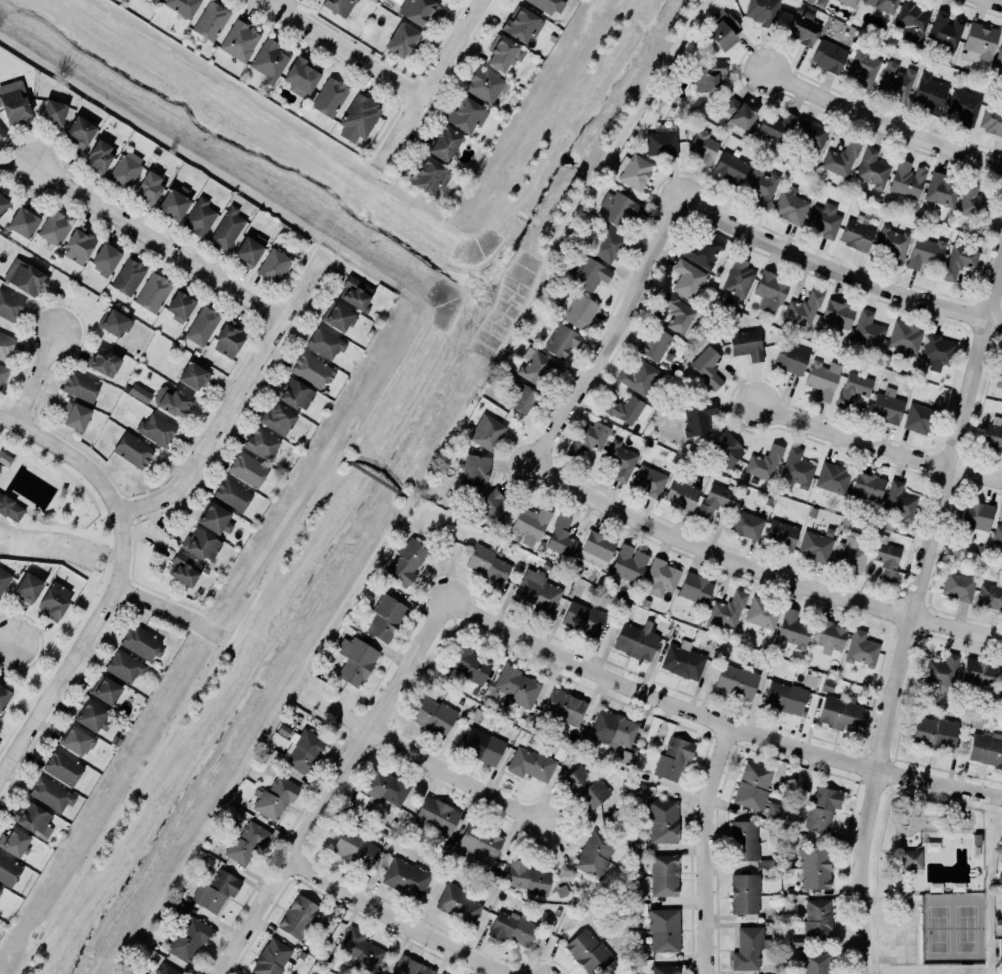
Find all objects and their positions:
building: (153, 0)
building: (849, 2)
road: (995, 2)
road: (281, 4)
building: (550, 5)
building: (883, 5)
building: (182, 6)
building: (338, 6)
building: (416, 10)
building: (762, 10)
building: (210, 20)
building: (913, 20)
building: (521, 24)
building: (802, 28)
building: (945, 29)
building: (721, 30)
building: (401, 39)
building: (979, 39)
building: (238, 40)
road: (343, 49)
building: (504, 53)
building: (266, 56)
building: (829, 56)
building: (999, 57)
building: (863, 68)
building: (708, 74)
building: (300, 76)
building: (895, 81)
road: (430, 83)
building: (484, 85)
building: (928, 93)
building: (329, 96)
building: (13, 102)
building: (963, 105)
building: (51, 112)
building: (737, 113)
building: (359, 114)
building: (466, 114)
building: (991, 120)
road: (882, 121)
building: (774, 126)
building: (79, 131)
building: (1, 132)
building: (811, 133)
building: (661, 141)
building: (445, 143)
building: (702, 145)
building: (98, 156)
building: (841, 158)
building: (731, 167)
building: (871, 167)
building: (126, 169)
building: (634, 170)
building: (428, 176)
building: (907, 178)
building: (763, 185)
building: (150, 187)
building: (940, 190)
building: (2, 203)
building: (974, 203)
building: (173, 204)
building: (790, 206)
building: (617, 208)
building: (198, 216)
building: (823, 218)
building: (22, 222)
building: (53, 227)
building: (227, 228)
building: (856, 234)
building: (892, 243)
building: (78, 244)
road: (159, 244)
building: (608, 245)
road: (550, 246)
building: (699, 247)
building: (925, 250)
building: (247, 251)
building: (105, 258)
building: (959, 261)
building: (274, 265)
road: (839, 272)
building: (588, 273)
building: (127, 275)
building: (23, 276)
building: (739, 277)
building: (686, 278)
building: (769, 290)
building: (153, 292)
building: (356, 293)
road: (986, 304)
building: (9, 305)
building: (180, 305)
building: (802, 308)
building: (576, 309)
building: (677, 312)
building: (838, 314)
road: (975, 314)
building: (337, 316)
road: (999, 321)
building: (113, 322)
building: (202, 325)
road: (983, 329)
building: (868, 330)
road: (609, 333)
building: (558, 337)
building: (905, 338)
building: (229, 339)
building: (324, 342)
building: (653, 343)
building: (747, 343)
building: (6, 346)
building: (936, 350)
building: (791, 356)
building: (103, 363)
building: (707, 366)
building: (537, 367)
building: (309, 368)
building: (3, 375)
building: (191, 375)
building: (999, 375)
building: (638, 376)
road: (36, 378)
building: (822, 378)
building: (79, 385)
building: (854, 388)
street lamp: (958, 392)
building: (140, 393)
building: (295, 394)
road: (235, 397)
building: (522, 399)
building: (170, 401)
building: (887, 406)
building: (624, 409)
road: (978, 411)
building: (75, 415)
building: (698, 418)
building: (920, 418)
building: (278, 419)
building: (156, 429)
building: (485, 431)
building: (992, 436)
building: (588, 437)
building: (262, 443)
building: (131, 447)
road: (878, 448)
building: (726, 449)
road: (952, 455)
road: (342, 457)
building: (620, 460)
building: (764, 462)
road: (937, 463)
road: (960, 468)
building: (247, 469)
building: (476, 470)
building: (795, 470)
road: (98, 477)
road: (375, 477)
building: (833, 477)
road: (945, 477)
building: (649, 480)
building: (867, 486)
building: (232, 493)
building: (681, 495)
road: (407, 497)
building: (714, 500)
building: (898, 500)
building: (492, 506)
building: (10, 507)
building: (975, 515)
road: (5, 519)
building: (214, 519)
building: (747, 524)
road: (4, 525)
building: (530, 525)
road: (58, 532)
building: (781, 534)
building: (997, 534)
building: (560, 536)
road: (61, 541)
building: (200, 544)
street lamp: (940, 545)
parking lot: (49, 546)
building: (815, 546)
building: (595, 548)
park: (50, 549)
road: (912, 551)
road: (105, 553)
building: (849, 555)
building: (886, 557)
building: (405, 561)
building: (629, 563)
road: (937, 563)
building: (487, 565)
road: (762, 567)
building: (185, 569)
building: (660, 576)
building: (3, 578)
building: (958, 586)
building: (694, 587)
building: (26, 588)
building: (537, 591)
building: (990, 595)
road: (345, 596)
road: (901, 596)
building: (52, 601)
road: (914, 602)
road: (928, 606)
road: (170, 608)
building: (724, 610)
road: (912, 611)
building: (762, 613)
building: (386, 617)
building: (582, 618)
road: (163, 619)
road: (76, 623)
building: (792, 628)
building: (827, 632)
building: (635, 640)
building: (142, 642)
road: (6, 643)
building: (861, 649)
building: (355, 660)
building: (682, 660)
building: (470, 663)
building: (124, 666)
building: (941, 671)
building: (976, 671)
building: (1000, 680)
road: (59, 681)
building: (736, 681)
road: (44, 683)
building: (513, 683)
building: (106, 691)
street lamp: (883, 692)
building: (3, 696)
building: (784, 697)
road: (60, 701)
building: (564, 705)
road: (335, 709)
building: (840, 712)
road: (178, 714)
building: (432, 714)
road: (21, 716)
building: (93, 716)
road: (717, 721)
building: (613, 729)
building: (934, 733)
building: (76, 741)
building: (480, 745)
building: (985, 749)
building: (303, 750)
building: (626, 756)
building: (672, 759)
building: (527, 761)
street lamp: (905, 766)
building: (63, 767)
road: (452, 774)
road: (332, 785)
building: (380, 786)
building: (585, 788)
road: (891, 788)
building: (756, 791)
building: (51, 794)
building: (275, 796)
road: (947, 802)
street lamp: (999, 806)
building: (821, 808)
building: (437, 816)
building: (33, 818)
building: (660, 820)
building: (479, 838)
building: (14, 840)
building: (744, 840)
building: (247, 841)
road: (878, 842)
building: (353, 846)
building: (932, 846)
road: (709, 849)
building: (595, 854)
building: (911, 858)
building: (206, 862)
building: (815, 867)
building: (9, 870)
building: (404, 874)
building: (664, 875)
building: (529, 877)
building: (226, 882)
park: (931, 883)
building: (934, 886)
building: (957, 887)
building: (0, 889)
building: (743, 894)
road: (908, 894)
road: (891, 896)
building: (208, 897)
road: (868, 897)
road: (906, 898)
road: (910, 901)
building: (460, 903)
building: (180, 909)
building: (298, 916)
road: (402, 918)
building: (818, 919)
road: (876, 922)
building: (509, 927)
road: (914, 927)
park: (953, 928)
building: (664, 930)
building: (189, 938)
parking lot: (901, 944)
building: (361, 949)
building: (748, 949)
building: (1000, 949)
building: (588, 951)
road: (886, 954)
road: (877, 955)
building: (271, 957)
building: (816, 962)
road: (903, 963)
road: (919, 963)
building: (411, 966)
road: (877, 966)
building: (164, 969)
building: (665, 969)
road: (875, 972)
road: (879, 972)

